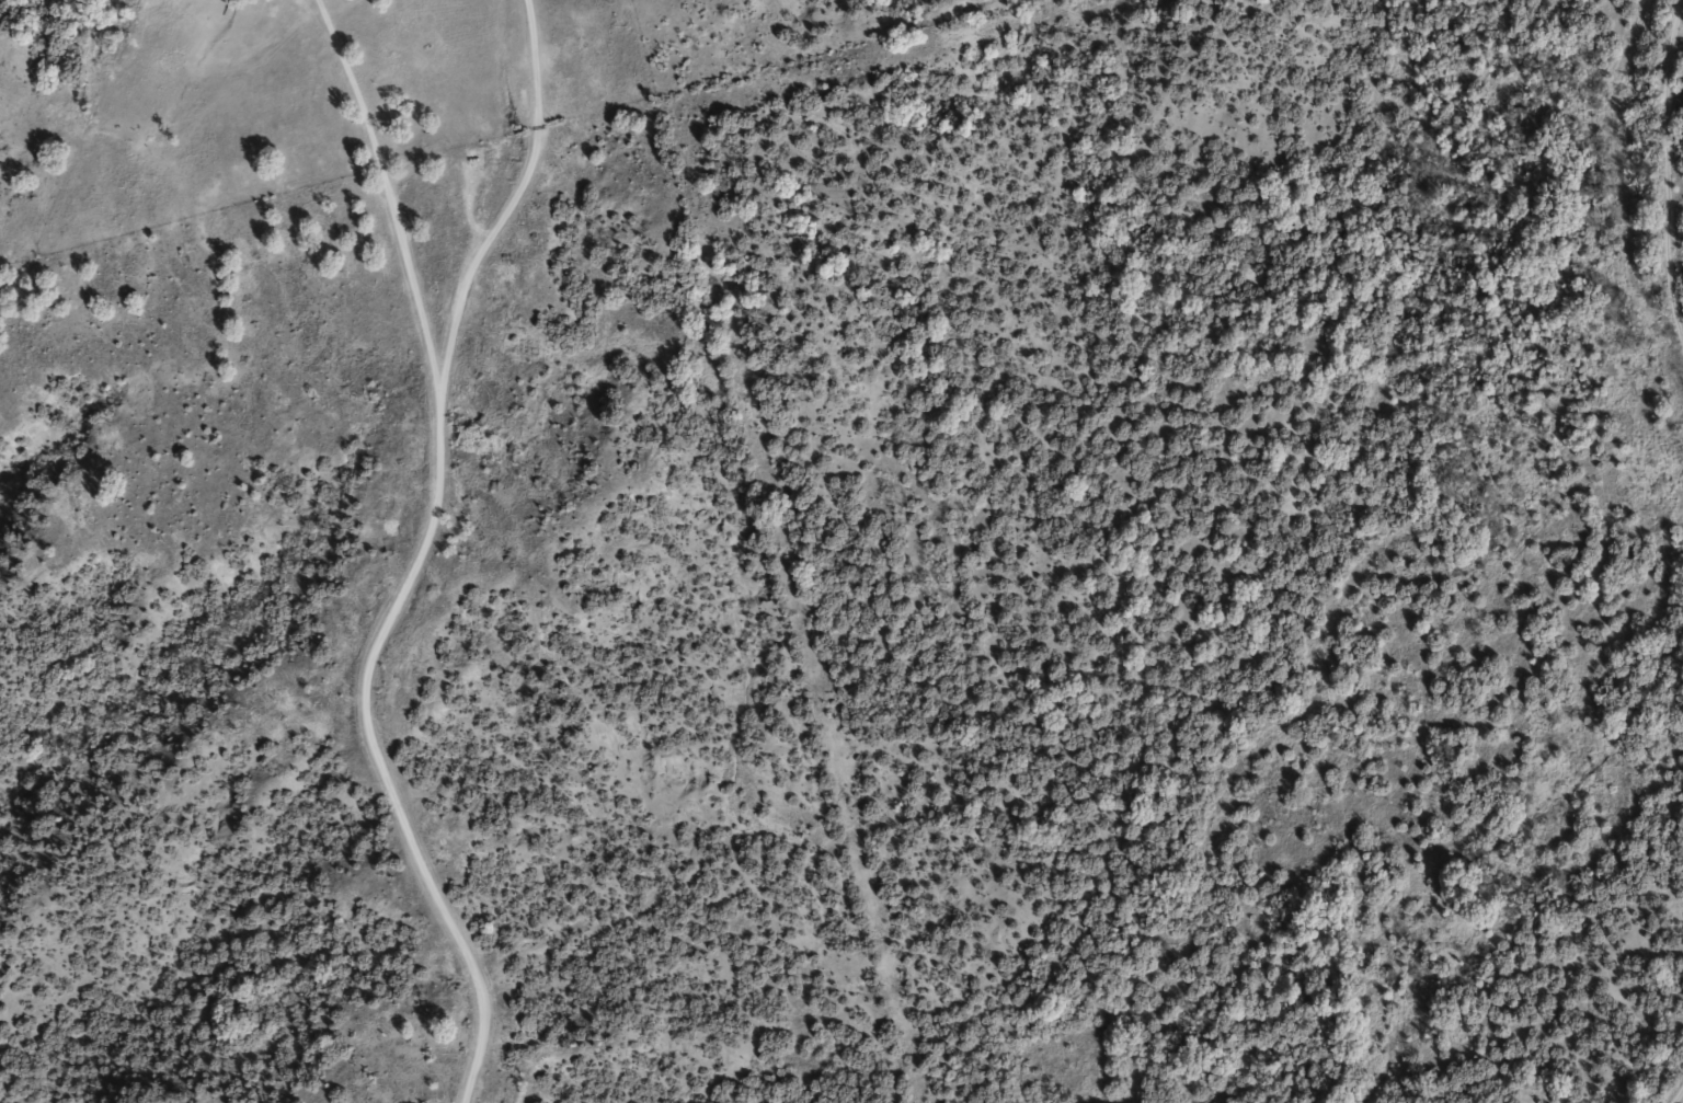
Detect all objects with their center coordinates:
road: (389, 193)
road: (515, 202)
road: (377, 751)

